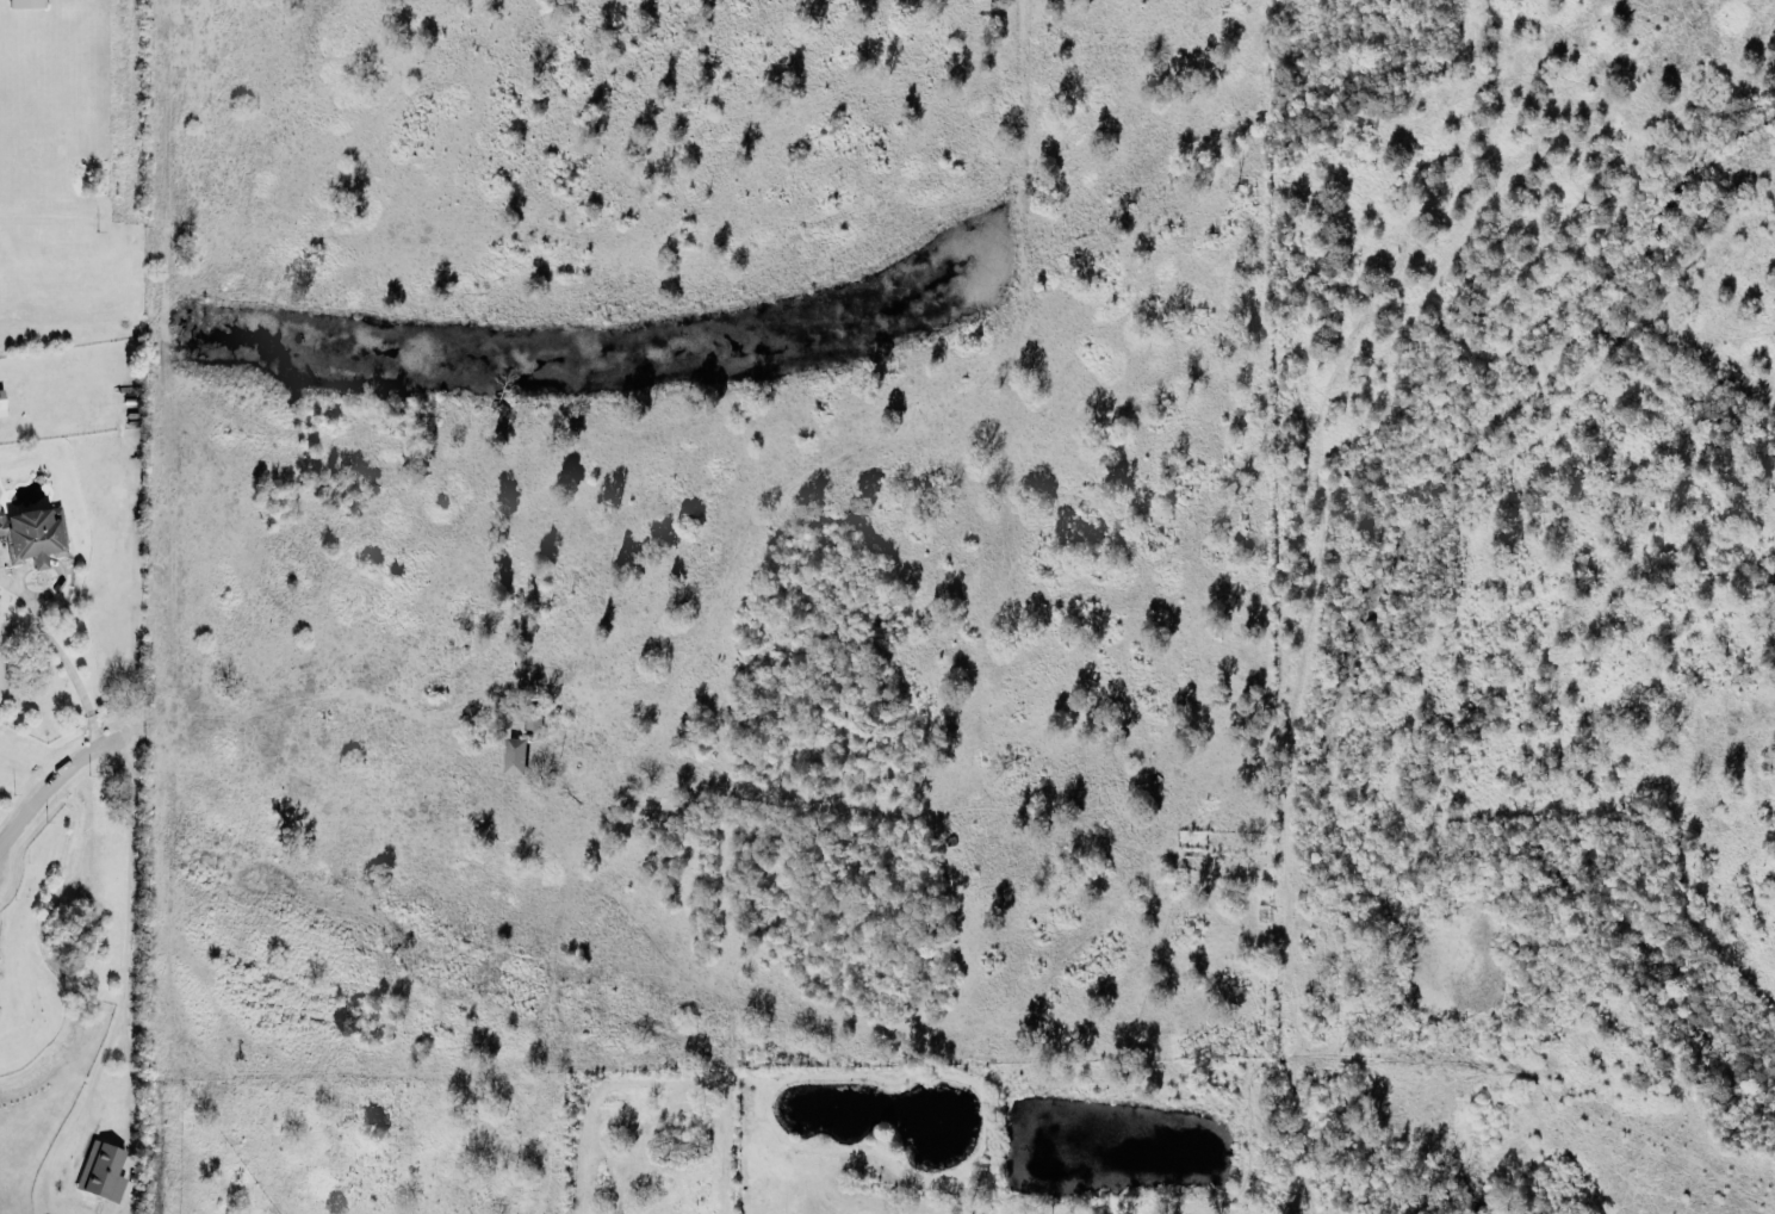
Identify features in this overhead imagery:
building: (26, 2)
road: (960, 373)
building: (1, 401)
building: (33, 532)
road: (66, 661)
building: (533, 712)
building: (514, 752)
road: (51, 778)
road: (126, 922)
building: (101, 1169)

